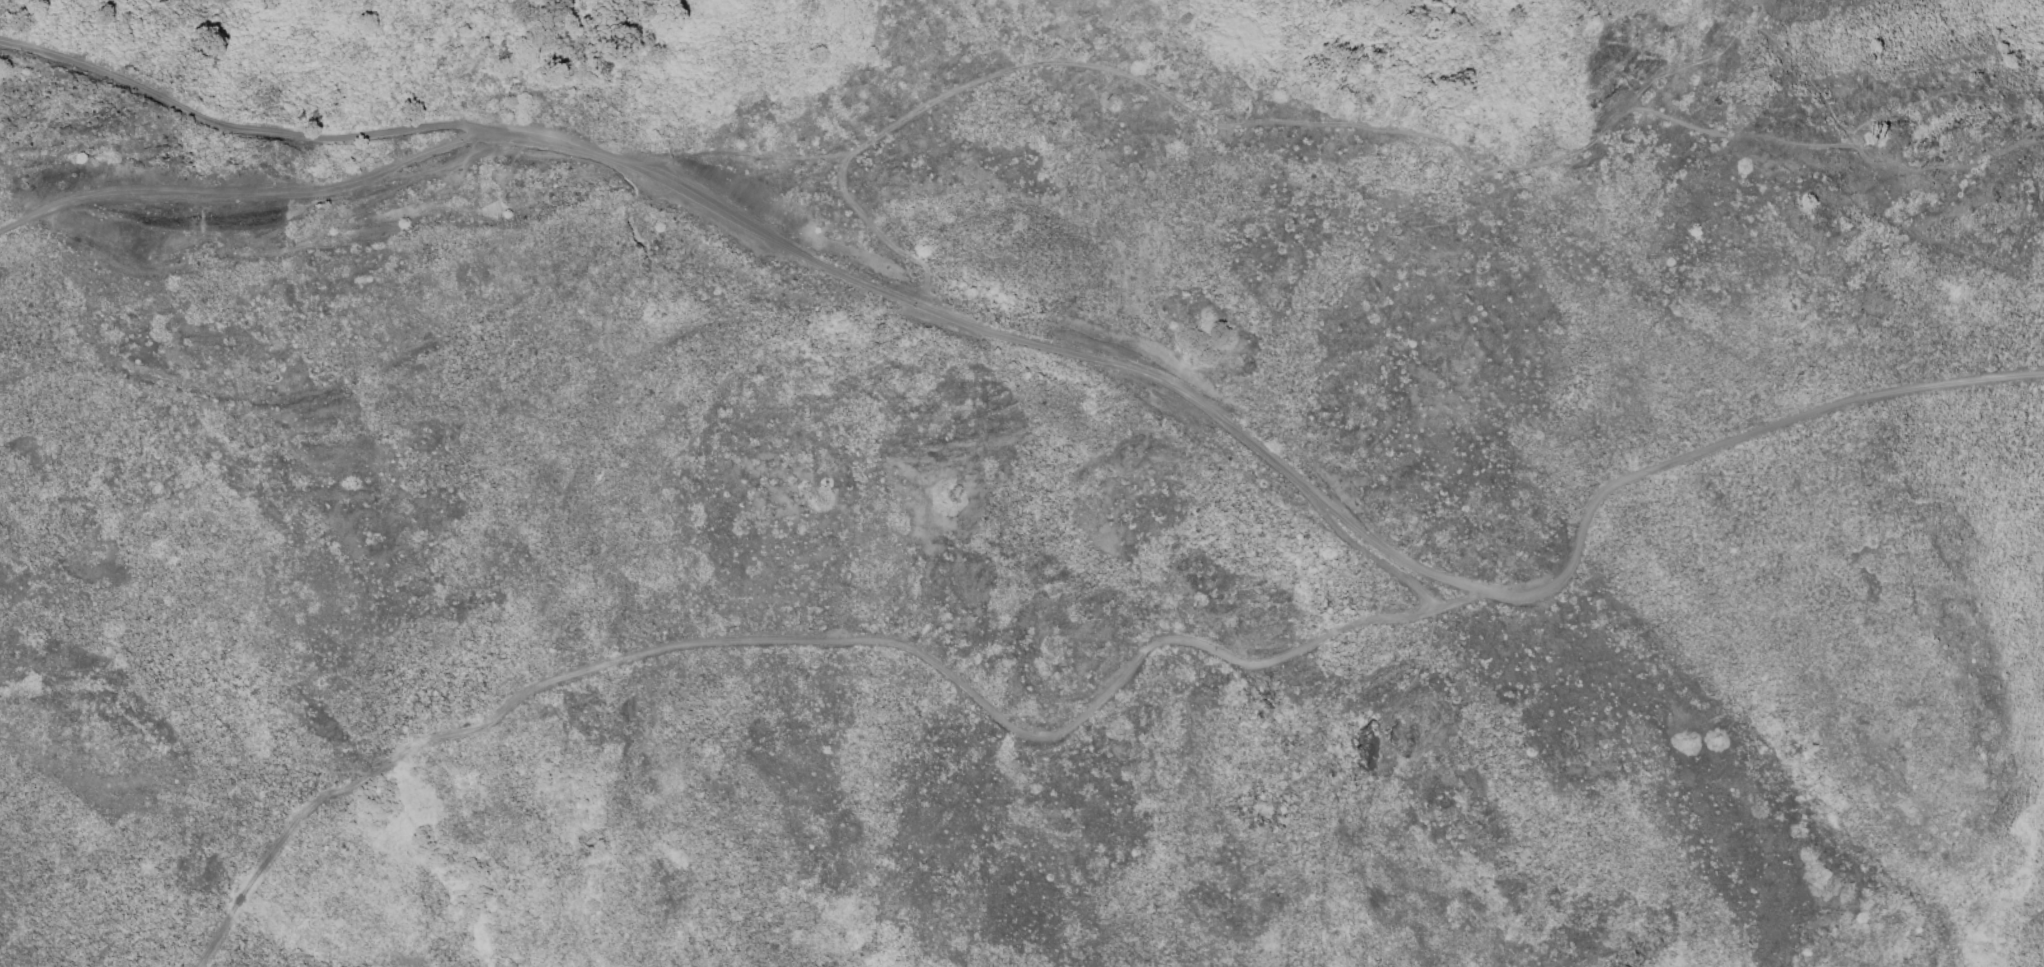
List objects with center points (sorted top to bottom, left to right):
road: (244, 128)
road: (1345, 128)
power tower: (1876, 152)
road: (251, 193)
road: (1291, 477)
road: (1374, 562)
road: (1362, 626)
road: (696, 649)

